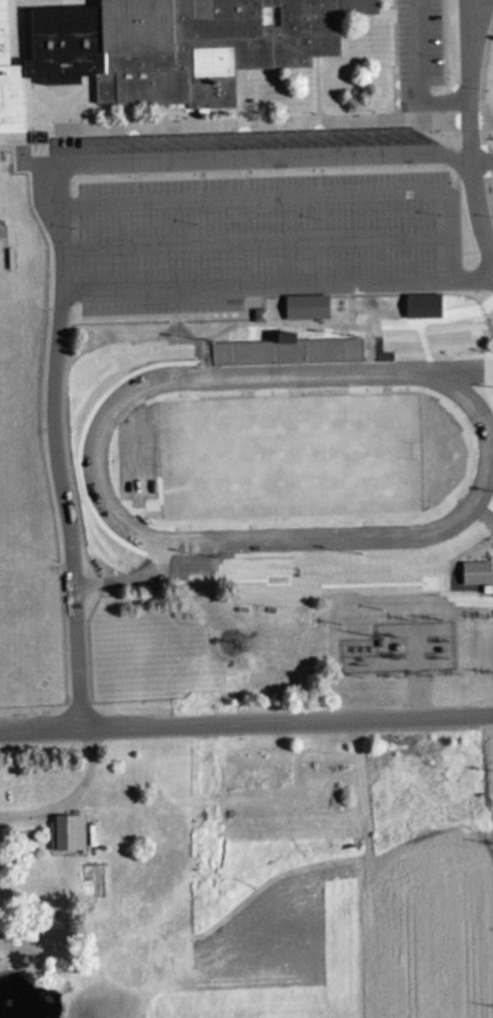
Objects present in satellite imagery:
road: (476, 4)
building: (165, 48)
road: (419, 73)
road: (466, 134)
road: (51, 229)
building: (420, 304)
building: (304, 306)
park: (2, 336)
building: (271, 350)
park: (292, 455)
track: (95, 458)
building: (473, 571)
power substation: (400, 647)
road: (246, 714)

